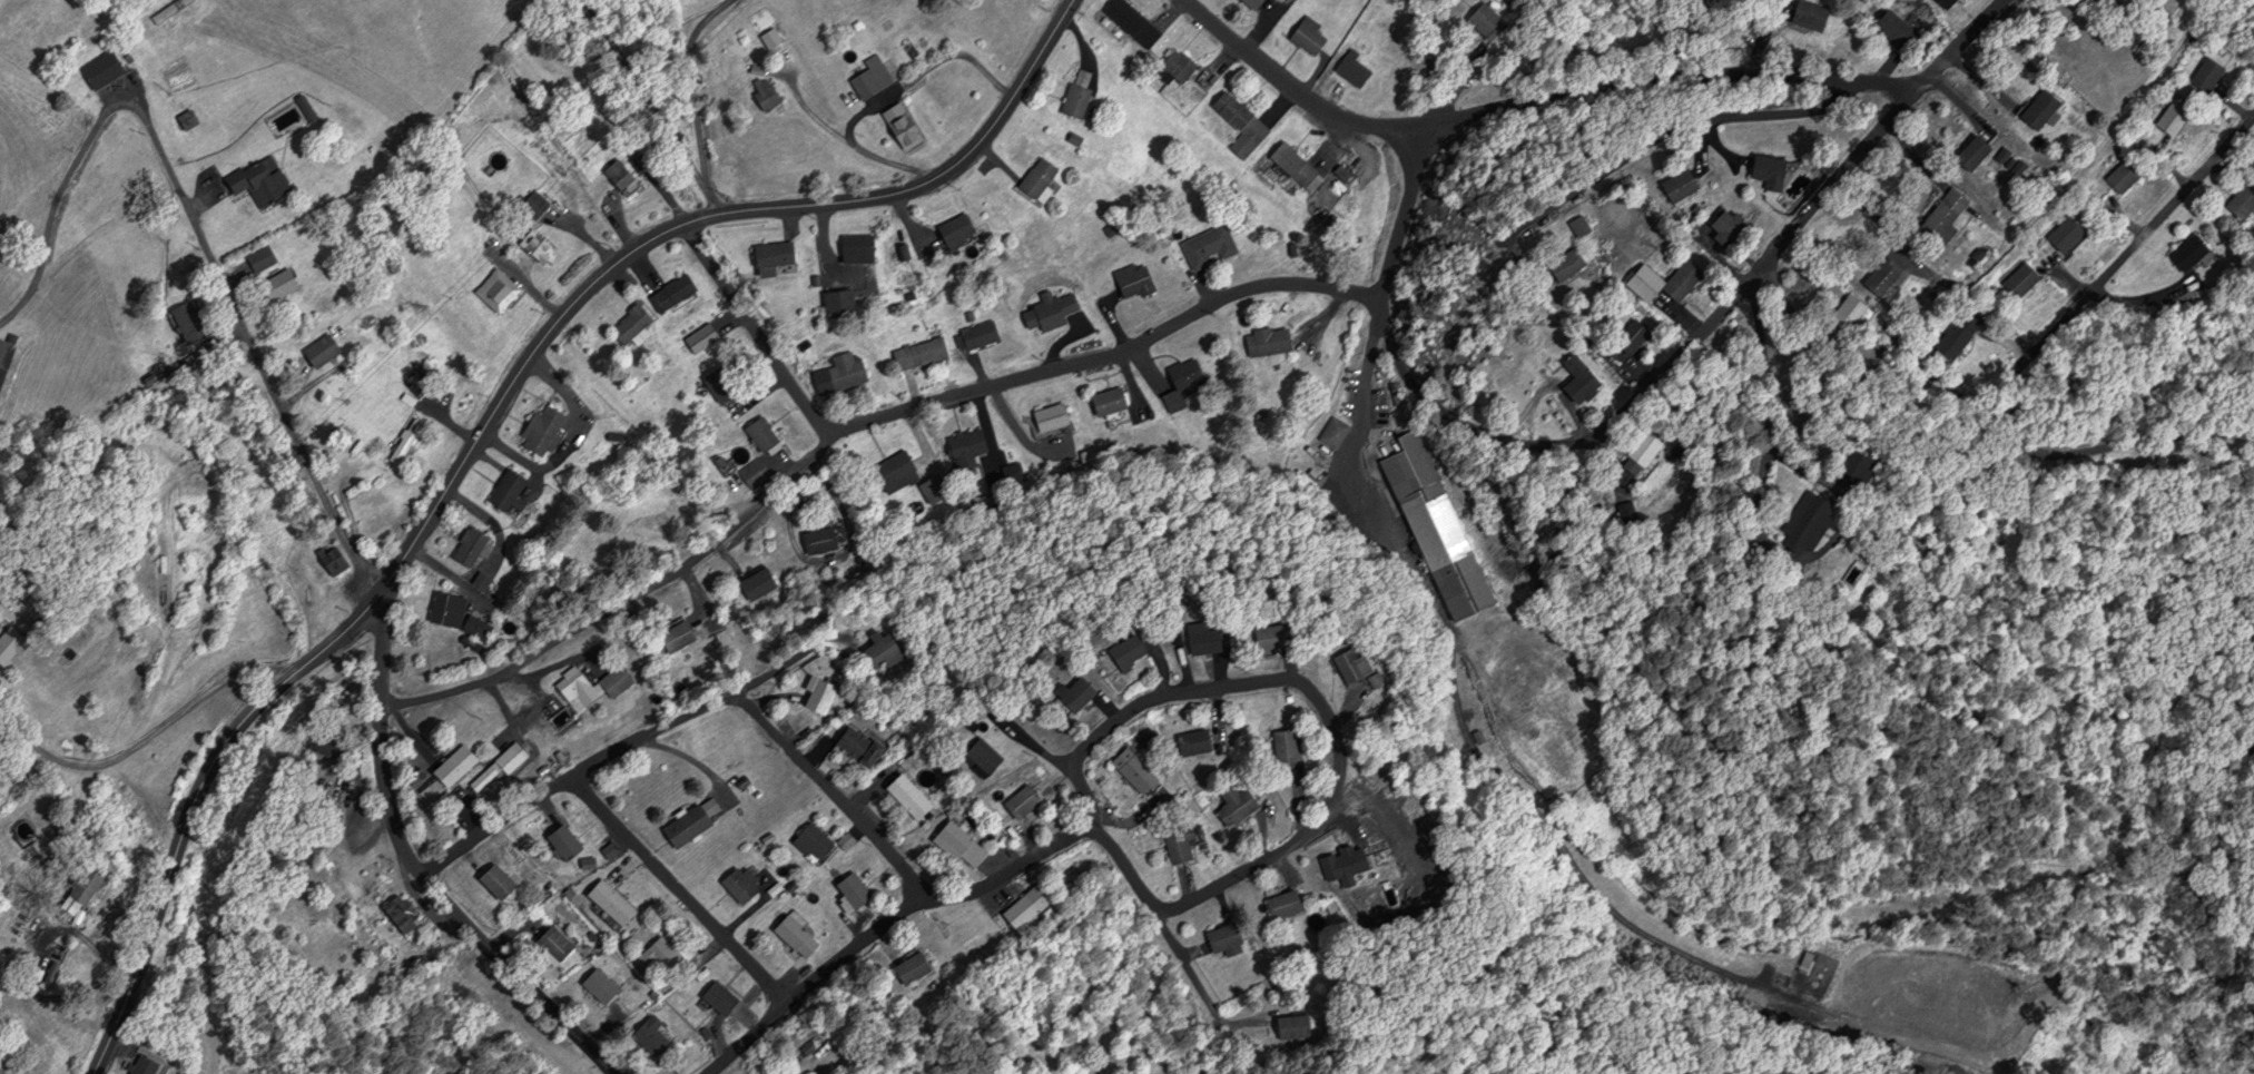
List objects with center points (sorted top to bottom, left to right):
building: (1247, 3)
building: (1805, 16)
building: (1484, 20)
building: (1126, 22)
building: (1893, 28)
building: (1302, 35)
road: (1957, 43)
building: (1171, 67)
building: (107, 68)
building: (1348, 69)
building: (2203, 75)
building: (866, 77)
road: (1525, 85)
building: (759, 92)
building: (1071, 100)
building: (2035, 108)
road: (2125, 114)
building: (2167, 115)
building: (193, 118)
road: (1690, 122)
building: (1236, 124)
building: (896, 126)
building: (1967, 151)
building: (1291, 166)
building: (1763, 170)
building: (2119, 174)
building: (616, 176)
building: (1032, 177)
building: (264, 179)
building: (1675, 184)
building: (2238, 199)
building: (533, 204)
road: (1402, 207)
building: (1940, 215)
building: (1574, 225)
building: (1724, 225)
building: (948, 228)
building: (2059, 233)
building: (530, 245)
building: (1204, 246)
building: (853, 247)
building: (2185, 252)
building: (768, 253)
building: (265, 256)
building: (1559, 263)
building: (1874, 276)
building: (1128, 279)
building: (1677, 279)
building: (2015, 279)
building: (283, 284)
building: (491, 290)
building: (667, 293)
building: (833, 302)
building: (1841, 311)
building: (628, 325)
road: (754, 329)
building: (974, 334)
building: (1952, 335)
building: (1626, 337)
building: (1262, 341)
road: (248, 342)
building: (325, 352)
building: (914, 353)
road: (2022, 358)
building: (836, 374)
road: (1657, 374)
building: (1574, 380)
building: (1178, 383)
building: (713, 384)
road: (1770, 397)
building: (1103, 401)
building: (1046, 420)
road: (484, 425)
building: (537, 430)
road: (846, 430)
building: (1330, 432)
building: (756, 434)
building: (403, 441)
building: (962, 449)
building: (1640, 449)
road: (1795, 464)
building: (893, 472)
building: (750, 473)
building: (934, 489)
building: (503, 494)
building: (1800, 522)
building: (1431, 526)
building: (817, 541)
building: (464, 546)
building: (328, 561)
building: (755, 583)
building: (442, 609)
building: (474, 628)
building: (672, 637)
building: (1266, 637)
building: (1195, 639)
building: (14, 646)
building: (878, 653)
building: (1121, 653)
building: (1343, 666)
road: (1203, 687)
building: (584, 689)
building: (1065, 694)
building: (815, 696)
road: (149, 738)
building: (332, 742)
building: (1188, 742)
building: (854, 746)
building: (1277, 746)
building: (976, 755)
building: (512, 757)
road: (686, 758)
building: (459, 763)
building: (1128, 769)
road: (570, 778)
road: (830, 794)
building: (903, 795)
building: (1016, 801)
building: (1230, 805)
building: (686, 821)
building: (568, 840)
building: (809, 843)
building: (1175, 843)
building: (952, 844)
building: (1342, 863)
road: (414, 876)
building: (500, 880)
building: (734, 884)
road: (680, 889)
building: (847, 890)
building: (617, 901)
building: (1280, 903)
building: (402, 913)
building: (1020, 915)
road: (876, 927)
building: (790, 935)
building: (1220, 938)
building: (558, 943)
building: (663, 957)
building: (907, 967)
building: (604, 984)
building: (724, 995)
building: (1290, 1025)
building: (656, 1034)
building: (150, 1064)
building: (21, 1073)
building: (1021, 1073)

